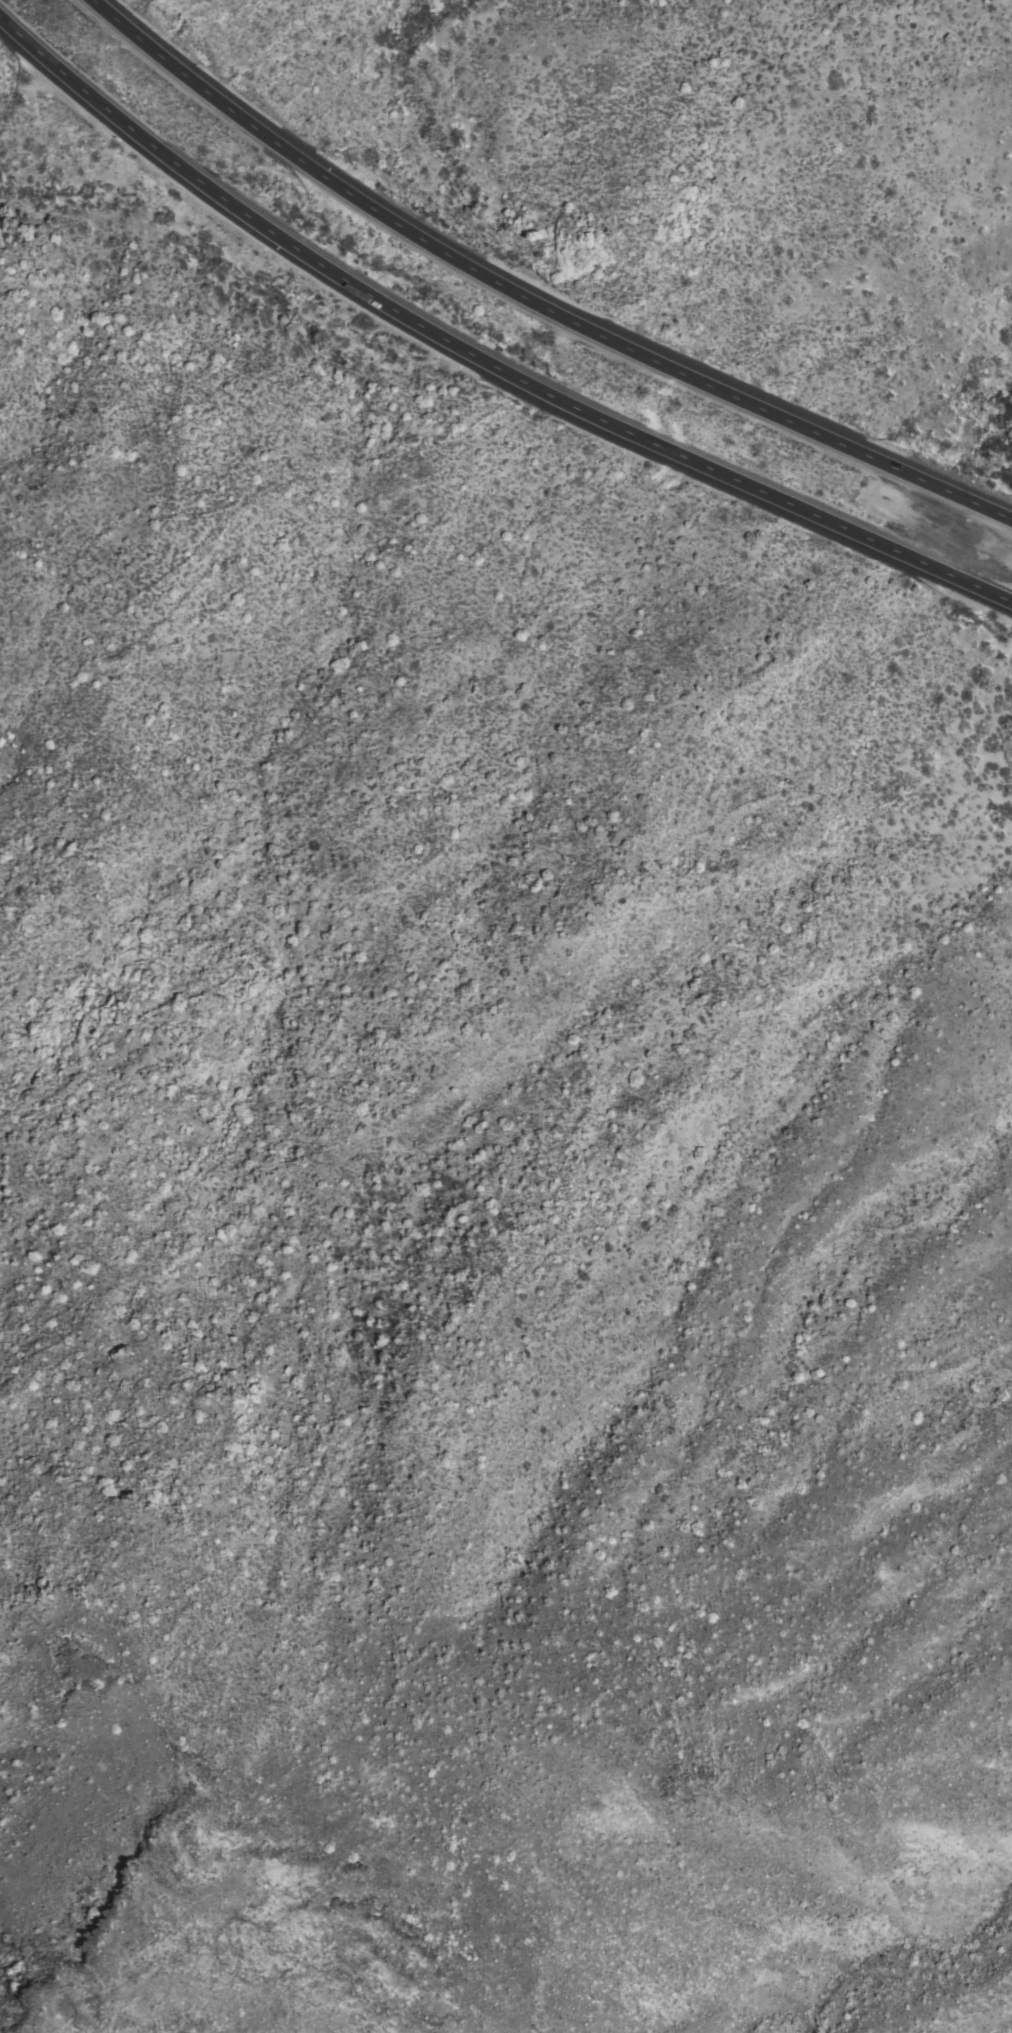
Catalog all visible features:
road: (532, 295)
road: (479, 354)

